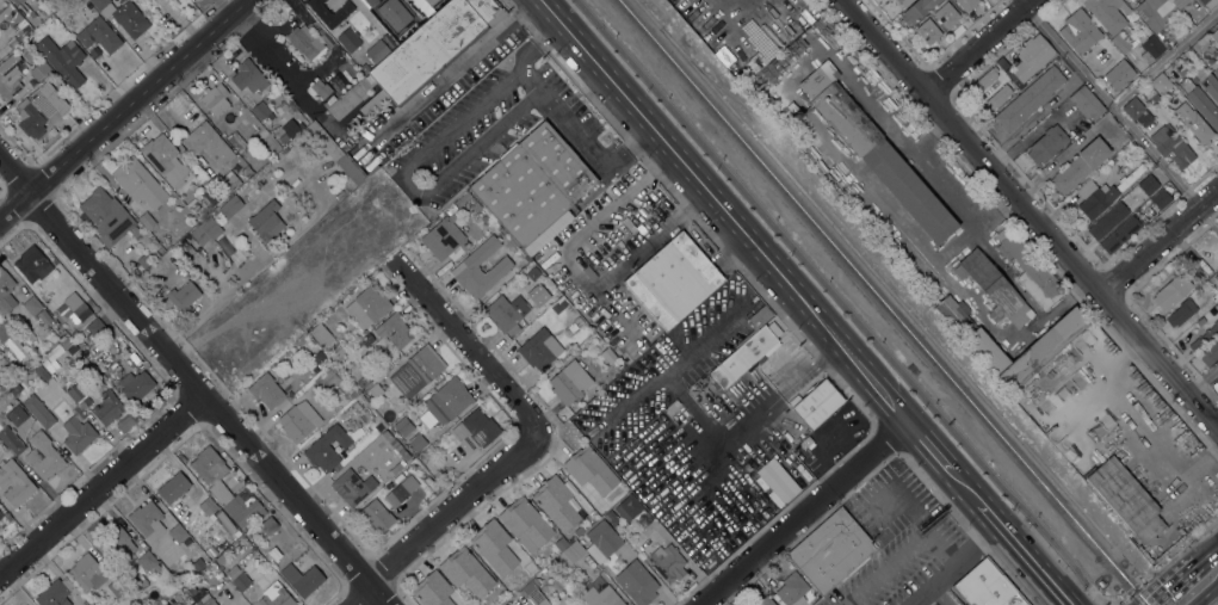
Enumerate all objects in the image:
building: (20, 1)
building: (1202, 1)
building: (370, 2)
building: (904, 2)
building: (966, 4)
building: (423, 7)
building: (917, 11)
building: (329, 12)
building: (1160, 12)
building: (1107, 13)
building: (394, 14)
building: (123, 16)
building: (946, 16)
building: (31, 18)
building: (14, 20)
building: (0, 24)
building: (1080, 31)
building: (927, 32)
building: (99, 36)
building: (1214, 36)
building: (348, 39)
building: (304, 42)
building: (1119, 43)
road: (979, 44)
building: (1149, 49)
building: (377, 50)
building: (421, 55)
road: (1166, 56)
building: (1031, 57)
building: (62, 60)
building: (1214, 67)
road: (450, 68)
building: (39, 70)
building: (1125, 70)
road: (282, 73)
building: (2, 75)
building: (248, 76)
building: (984, 80)
building: (1206, 82)
building: (1160, 84)
building: (320, 88)
building: (998, 97)
building: (215, 99)
building: (1028, 99)
building: (1198, 99)
building: (328, 103)
building: (1086, 103)
building: (38, 109)
road: (123, 109)
building: (1137, 110)
building: (260, 111)
road: (1119, 111)
road: (1033, 113)
building: (797, 115)
road: (557, 116)
road: (884, 121)
building: (1198, 128)
building: (290, 129)
building: (237, 138)
building: (283, 138)
building: (208, 143)
building: (1046, 144)
building: (1170, 146)
building: (874, 152)
building: (336, 154)
building: (163, 160)
building: (1080, 166)
building: (246, 172)
building: (1129, 178)
building: (138, 183)
building: (228, 183)
road: (410, 185)
building: (1148, 185)
building: (533, 187)
building: (212, 195)
building: (1094, 198)
building: (462, 199)
building: (1158, 200)
road: (959, 205)
building: (230, 206)
building: (475, 206)
road: (722, 211)
road: (1033, 214)
building: (107, 217)
road: (600, 220)
building: (147, 221)
building: (1107, 221)
building: (266, 222)
building: (205, 230)
building: (1119, 234)
building: (445, 237)
road: (1157, 240)
building: (225, 249)
road: (624, 260)
building: (143, 261)
building: (30, 266)
building: (465, 267)
building: (1028, 268)
building: (134, 273)
building: (532, 273)
building: (1216, 277)
building: (673, 280)
railway: (842, 280)
building: (994, 289)
building: (6, 292)
building: (1171, 292)
road: (1022, 294)
building: (183, 297)
railway: (882, 302)
road: (840, 303)
building: (32, 305)
building: (367, 307)
building: (1216, 307)
building: (73, 308)
building: (556, 308)
building: (1181, 313)
building: (507, 314)
building: (760, 316)
building: (44, 317)
building: (1199, 321)
building: (575, 325)
building: (95, 327)
building: (395, 331)
building: (1210, 333)
building: (321, 335)
building: (27, 337)
building: (1046, 345)
building: (13, 346)
building: (1195, 346)
building: (539, 350)
building: (1208, 353)
building: (336, 354)
road: (474, 356)
building: (607, 356)
building: (746, 356)
building: (55, 360)
building: (416, 371)
building: (41, 374)
building: (4, 377)
building: (18, 377)
building: (328, 378)
road: (1202, 379)
building: (363, 382)
building: (569, 382)
road: (192, 383)
building: (135, 385)
building: (73, 389)
building: (375, 390)
building: (266, 391)
road: (777, 394)
building: (353, 395)
building: (447, 401)
building: (816, 403)
building: (355, 406)
building: (104, 410)
building: (38, 412)
building: (16, 415)
road: (1139, 416)
building: (298, 421)
building: (403, 427)
building: (475, 431)
building: (78, 434)
building: (11, 439)
building: (416, 443)
building: (808, 443)
road: (926, 446)
building: (327, 447)
building: (43, 456)
building: (205, 464)
building: (589, 470)
building: (777, 481)
building: (14, 483)
road: (101, 486)
building: (352, 487)
road: (964, 487)
building: (173, 488)
building: (396, 495)
building: (1125, 499)
building: (556, 504)
building: (208, 507)
building: (627, 508)
building: (242, 511)
road: (802, 513)
building: (1, 517)
building: (611, 517)
building: (376, 518)
road: (445, 519)
building: (147, 520)
building: (192, 521)
building: (268, 525)
building: (525, 525)
building: (177, 533)
building: (601, 541)
building: (115, 545)
building: (494, 547)
building: (829, 551)
road: (1207, 551)
road: (1025, 554)
building: (567, 556)
road: (899, 556)
building: (148, 562)
road: (1164, 562)
building: (667, 563)
building: (197, 564)
road: (959, 567)
building: (87, 572)
building: (465, 572)
building: (237, 578)
building: (302, 579)
building: (142, 582)
building: (636, 582)
road: (1171, 582)
building: (116, 587)
building: (987, 587)
building: (797, 588)
building: (432, 589)
building: (532, 591)
road: (1205, 592)
building: (54, 593)
road: (1213, 594)
building: (276, 595)
building: (601, 597)
road: (935, 598)
building: (203, 599)
building: (765, 600)
building: (85, 604)

